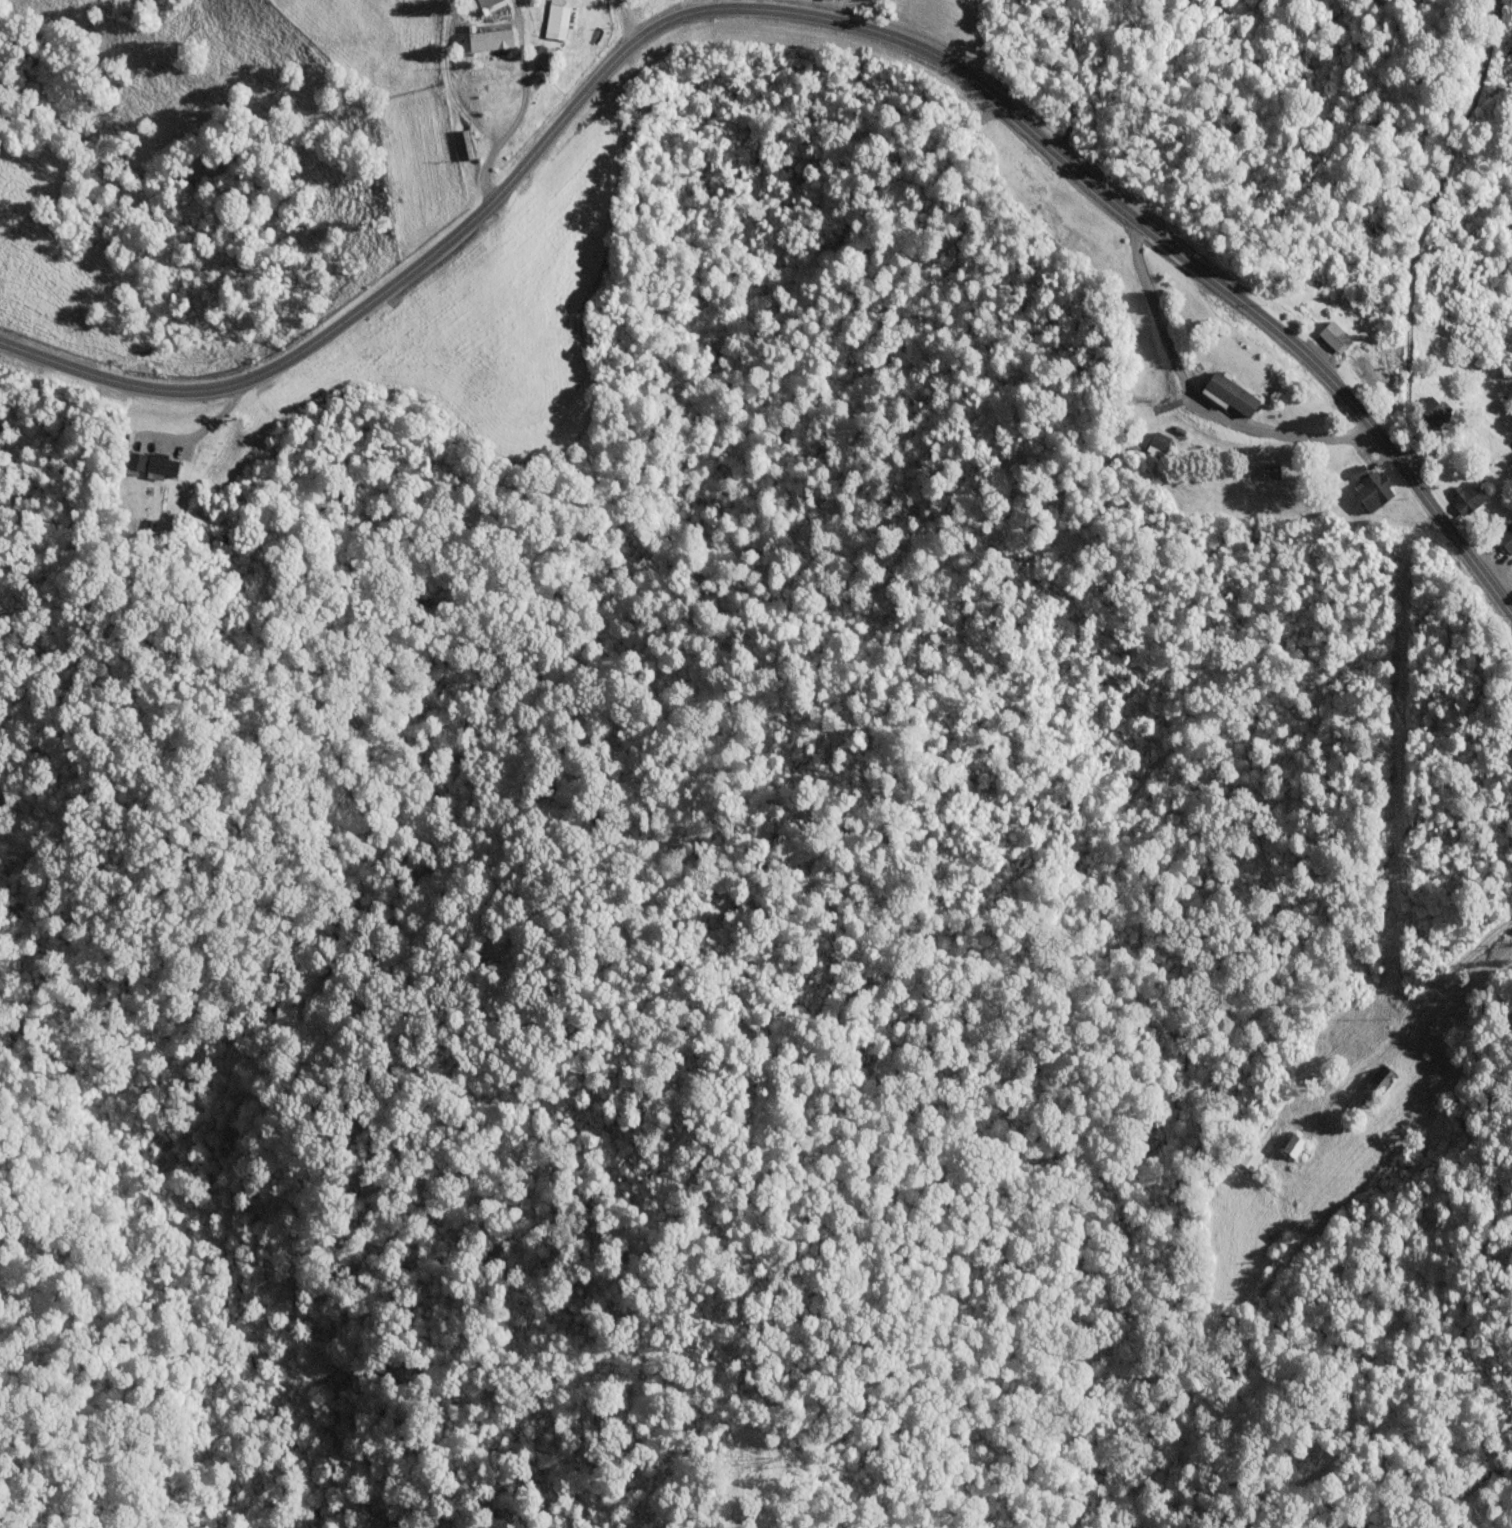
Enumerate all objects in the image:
building: (483, 4)
road: (798, 14)
building: (556, 19)
building: (489, 39)
road: (519, 108)
building: (1334, 335)
building: (1230, 394)
road: (1195, 403)
building: (1431, 411)
building: (1157, 443)
building: (151, 463)
building: (1357, 470)
building: (1269, 472)
building: (1372, 490)
building: (1468, 497)
building: (1505, 537)
road: (1444, 975)
building: (1375, 1085)
building: (1293, 1143)
building: (1248, 1156)
road: (1472, 1517)

